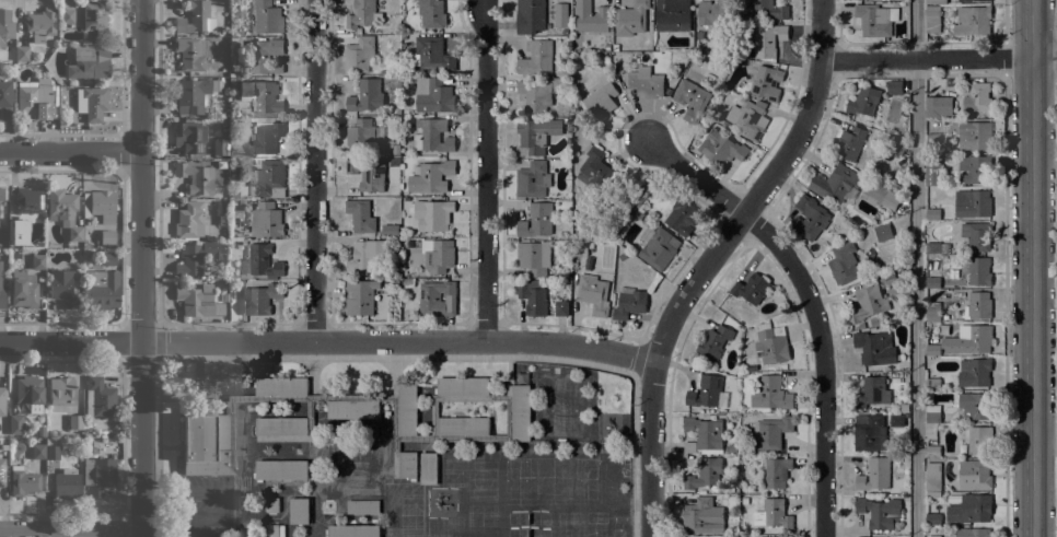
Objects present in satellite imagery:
building: (972, 0)
building: (936, 1)
building: (769, 9)
building: (712, 12)
building: (361, 13)
building: (431, 13)
building: (560, 14)
building: (67, 15)
building: (530, 15)
building: (672, 15)
building: (95, 17)
building: (196, 17)
building: (267, 17)
building: (590, 17)
road: (1056, 17)
building: (630, 19)
building: (874, 19)
building: (932, 20)
road: (1006, 20)
building: (972, 21)
building: (40, 24)
building: (5, 25)
building: (564, 32)
building: (768, 40)
building: (615, 47)
building: (22, 52)
building: (189, 52)
building: (359, 54)
building: (432, 54)
road: (1056, 54)
building: (265, 55)
road: (1007, 57)
road: (1045, 57)
road: (927, 58)
building: (538, 60)
building: (90, 61)
building: (646, 82)
building: (767, 82)
building: (894, 87)
building: (538, 93)
building: (193, 94)
building: (367, 95)
building: (433, 95)
building: (977, 97)
building: (5, 98)
building: (34, 98)
building: (263, 98)
building: (690, 100)
building: (601, 102)
building: (866, 102)
building: (92, 103)
building: (932, 113)
building: (945, 115)
building: (748, 118)
building: (875, 121)
building: (722, 122)
building: (362, 135)
building: (432, 136)
building: (535, 136)
building: (975, 136)
building: (189, 137)
building: (268, 138)
building: (848, 142)
building: (932, 142)
building: (897, 144)
building: (220, 147)
building: (721, 148)
building: (395, 149)
road: (72, 153)
building: (858, 164)
building: (594, 167)
building: (975, 168)
road: (315, 170)
road: (487, 171)
building: (933, 173)
building: (364, 176)
building: (430, 176)
building: (196, 177)
building: (268, 178)
building: (533, 179)
building: (837, 184)
building: (1, 194)
building: (232, 195)
building: (880, 196)
building: (618, 200)
building: (242, 202)
building: (28, 203)
building: (101, 205)
building: (975, 205)
building: (63, 211)
building: (432, 214)
building: (931, 214)
building: (360, 215)
building: (681, 215)
building: (810, 218)
building: (189, 220)
building: (266, 220)
building: (536, 220)
building: (390, 230)
building: (883, 232)
building: (14, 235)
building: (977, 236)
building: (107, 238)
building: (658, 246)
building: (581, 247)
building: (932, 248)
building: (365, 255)
building: (107, 256)
building: (195, 256)
building: (622, 256)
building: (440, 257)
building: (534, 257)
road: (710, 259)
building: (38, 260)
building: (263, 260)
building: (844, 262)
road: (143, 268)
road: (916, 268)
road: (1034, 268)
building: (979, 271)
building: (216, 277)
building: (888, 278)
building: (408, 282)
building: (932, 282)
building: (224, 283)
building: (63, 288)
building: (23, 289)
building: (101, 289)
building: (751, 289)
building: (1, 291)
building: (593, 294)
building: (225, 296)
building: (360, 296)
building: (260, 297)
building: (534, 297)
building: (438, 299)
building: (198, 301)
building: (629, 303)
building: (868, 303)
road: (814, 304)
building: (977, 305)
road: (1006, 305)
building: (561, 307)
building: (932, 312)
building: (741, 323)
building: (861, 325)
building: (945, 328)
building: (969, 339)
road: (328, 340)
building: (713, 341)
building: (770, 343)
building: (875, 348)
building: (932, 350)
road: (388, 357)
building: (976, 373)
building: (932, 383)
building: (222, 386)
building: (281, 386)
building: (462, 386)
building: (28, 389)
building: (61, 390)
building: (706, 392)
building: (871, 393)
building: (770, 394)
building: (98, 397)
building: (1, 400)
building: (975, 405)
building: (904, 407)
building: (352, 409)
building: (408, 409)
building: (398, 411)
building: (521, 412)
building: (932, 413)
building: (896, 420)
building: (75, 421)
building: (15, 423)
building: (463, 425)
building: (284, 429)
building: (39, 431)
building: (771, 432)
building: (869, 432)
building: (88, 433)
building: (704, 435)
building: (977, 439)
building: (207, 442)
building: (732, 448)
building: (932, 448)
building: (38, 451)
building: (53, 452)
building: (405, 465)
building: (428, 468)
building: (280, 469)
building: (2, 471)
building: (776, 471)
building: (705, 474)
building: (874, 474)
building: (974, 475)
building: (98, 476)
building: (933, 477)
building: (22, 481)
building: (67, 483)
building: (744, 500)
building: (271, 505)
building: (362, 506)
building: (977, 507)
building: (299, 511)
building: (879, 512)
building: (773, 514)
building: (702, 516)
building: (932, 520)
road: (70, 528)
building: (275, 530)
building: (352, 530)
building: (973, 533)
building: (866, 536)
building: (932, 536)

